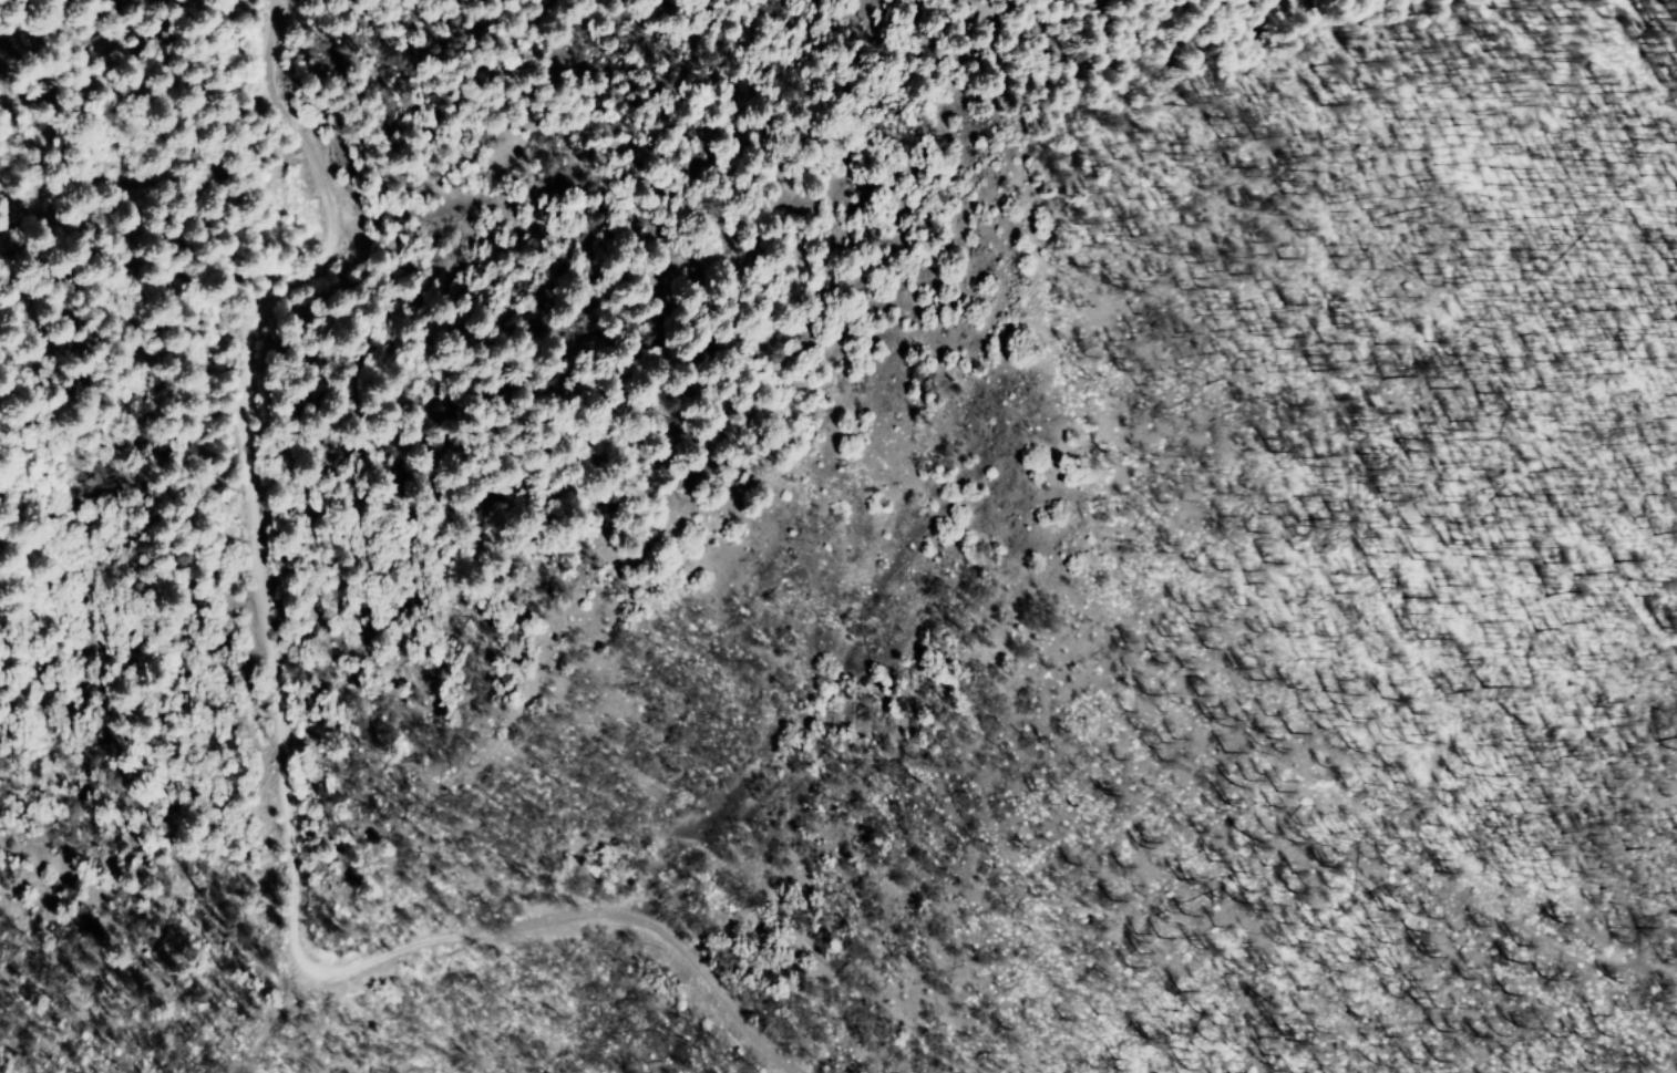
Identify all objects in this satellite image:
road: (1331, 427)
road: (260, 684)

